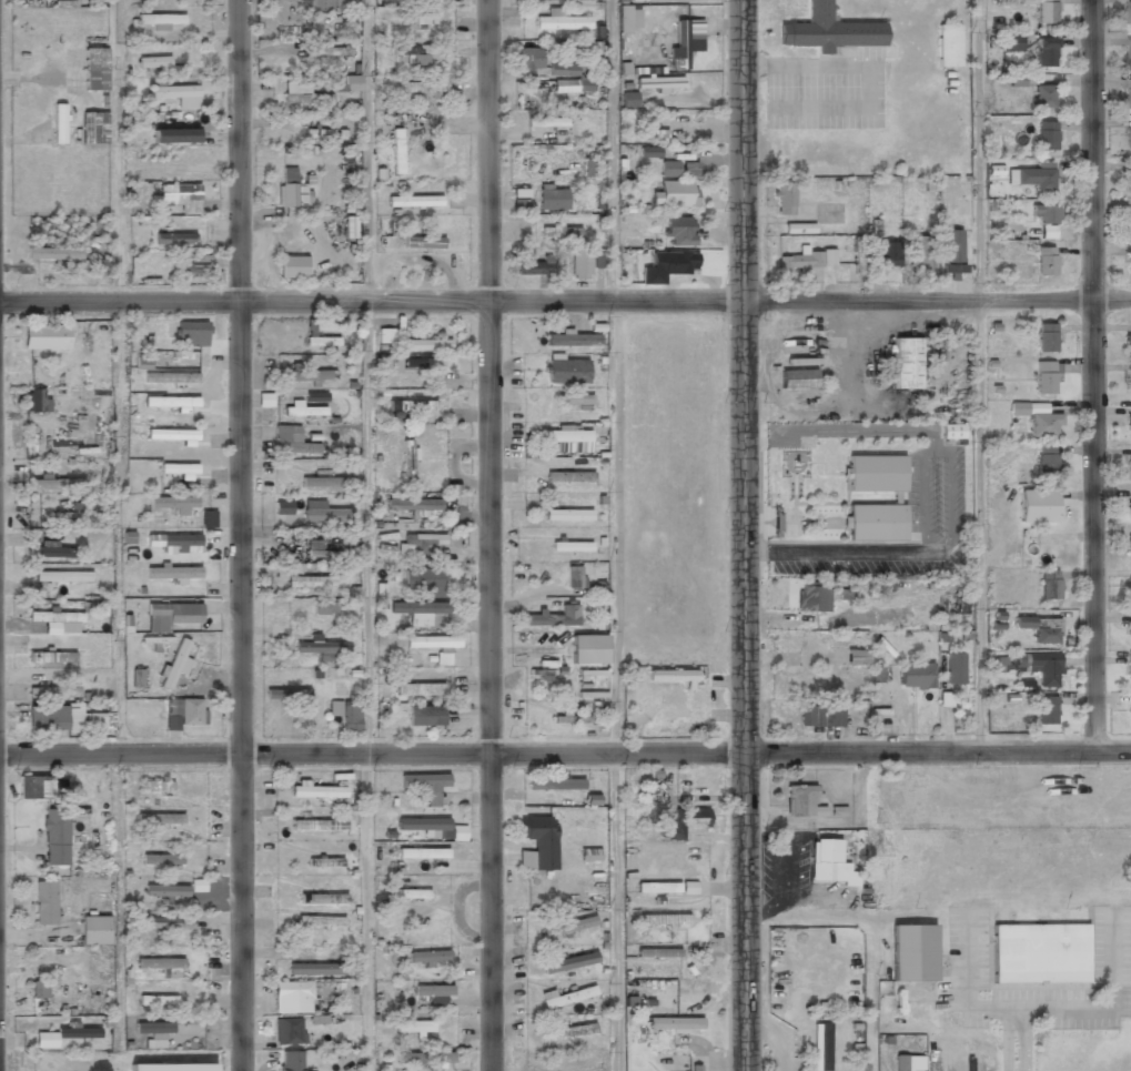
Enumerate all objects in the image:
building: (642, 0)
building: (431, 1)
building: (186, 2)
building: (333, 4)
building: (1044, 12)
building: (1128, 12)
building: (424, 19)
building: (160, 20)
building: (559, 21)
building: (828, 30)
building: (1011, 41)
building: (681, 44)
building: (948, 47)
building: (1130, 49)
building: (317, 51)
building: (1044, 52)
building: (422, 53)
building: (531, 59)
building: (153, 63)
building: (95, 69)
building: (563, 70)
building: (1016, 80)
building: (658, 82)
building: (351, 83)
building: (584, 85)
building: (421, 88)
building: (301, 93)
building: (176, 94)
building: (1129, 94)
building: (1042, 97)
building: (549, 122)
building: (58, 124)
building: (283, 124)
building: (94, 129)
building: (324, 134)
building: (653, 134)
building: (174, 135)
building: (1044, 137)
building: (1130, 138)
road: (366, 150)
building: (396, 150)
road: (612, 151)
building: (648, 151)
building: (160, 154)
building: (589, 168)
building: (669, 169)
building: (688, 169)
building: (1128, 175)
building: (1032, 178)
building: (291, 191)
building: (674, 193)
building: (178, 194)
building: (552, 198)
building: (784, 200)
building: (413, 201)
building: (1044, 215)
building: (1129, 220)
building: (678, 226)
building: (798, 228)
building: (1048, 231)
building: (558, 233)
building: (174, 239)
building: (423, 242)
building: (951, 251)
building: (919, 252)
building: (53, 253)
building: (859, 254)
building: (886, 254)
building: (1130, 259)
building: (598, 260)
building: (799, 261)
building: (1044, 262)
building: (195, 265)
building: (579, 265)
building: (667, 266)
building: (101, 267)
building: (293, 267)
building: (532, 267)
road: (565, 302)
building: (191, 334)
building: (385, 336)
building: (44, 337)
building: (1044, 337)
building: (572, 340)
building: (322, 341)
building: (1128, 341)
building: (426, 345)
building: (150, 362)
building: (422, 363)
building: (906, 364)
building: (566, 372)
building: (310, 375)
road: (741, 376)
road: (978, 376)
building: (1046, 376)
road: (1091, 376)
building: (1129, 377)
building: (170, 378)
building: (797, 380)
building: (316, 396)
building: (573, 401)
building: (36, 402)
building: (170, 402)
building: (413, 406)
building: (303, 411)
building: (1037, 417)
building: (1130, 422)
building: (172, 434)
building: (566, 436)
building: (295, 446)
building: (407, 459)
building: (1046, 459)
building: (1129, 467)
building: (179, 468)
building: (876, 474)
building: (568, 477)
building: (321, 483)
building: (57, 485)
building: (174, 503)
building: (1129, 504)
building: (413, 505)
building: (1038, 505)
building: (283, 508)
building: (324, 514)
building: (568, 515)
building: (208, 518)
building: (876, 523)
road: (367, 527)
road: (616, 527)
road: (240, 535)
road: (489, 535)
building: (172, 540)
building: (423, 544)
building: (570, 546)
building: (312, 549)
building: (1129, 549)
building: (52, 550)
building: (172, 573)
building: (63, 577)
building: (573, 577)
building: (423, 580)
building: (313, 583)
building: (1048, 585)
building: (1129, 588)
building: (811, 597)
building: (324, 608)
building: (178, 612)
building: (418, 612)
building: (553, 617)
building: (58, 622)
building: (1040, 628)
building: (1130, 630)
building: (432, 643)
building: (321, 647)
building: (588, 649)
building: (51, 658)
building: (855, 658)
building: (441, 659)
building: (174, 665)
building: (1042, 667)
building: (953, 669)
building: (1129, 670)
building: (875, 674)
building: (671, 676)
building: (916, 676)
building: (417, 689)
building: (53, 694)
building: (286, 696)
building: (185, 710)
building: (1044, 710)
building: (1130, 711)
building: (346, 716)
building: (819, 716)
building: (425, 717)
building: (53, 719)
building: (570, 720)
road: (565, 754)
building: (555, 784)
building: (425, 785)
building: (154, 787)
building: (36, 788)
building: (316, 791)
building: (801, 801)
building: (160, 818)
building: (680, 821)
building: (319, 826)
building: (426, 826)
building: (55, 837)
building: (539, 840)
building: (435, 852)
building: (589, 855)
building: (161, 859)
building: (325, 862)
building: (828, 863)
building: (666, 888)
building: (165, 890)
building: (410, 895)
building: (322, 898)
building: (44, 903)
road: (365, 911)
road: (745, 911)
road: (614, 912)
building: (663, 919)
building: (320, 921)
building: (168, 923)
building: (568, 926)
building: (94, 931)
building: (657, 952)
building: (911, 952)
building: (1039, 953)
building: (428, 958)
building: (569, 961)
building: (161, 966)
building: (314, 969)
building: (39, 989)
building: (434, 992)
building: (568, 996)
building: (292, 999)
building: (156, 1001)
building: (414, 1027)
building: (675, 1027)
building: (569, 1031)
building: (153, 1032)
building: (287, 1032)
building: (78, 1033)
building: (821, 1047)
building: (408, 1058)
building: (442, 1059)
building: (291, 1061)
building: (899, 1063)
building: (568, 1064)
building: (172, 1067)
building: (694, 1069)

